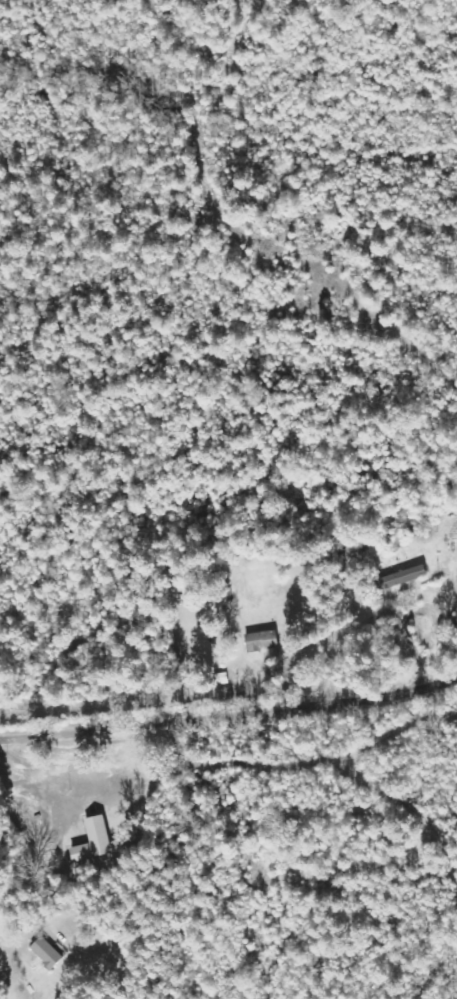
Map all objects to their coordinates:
road: (266, 243)
building: (449, 532)
building: (402, 577)
building: (263, 642)
road: (230, 713)
building: (95, 840)
building: (45, 953)

